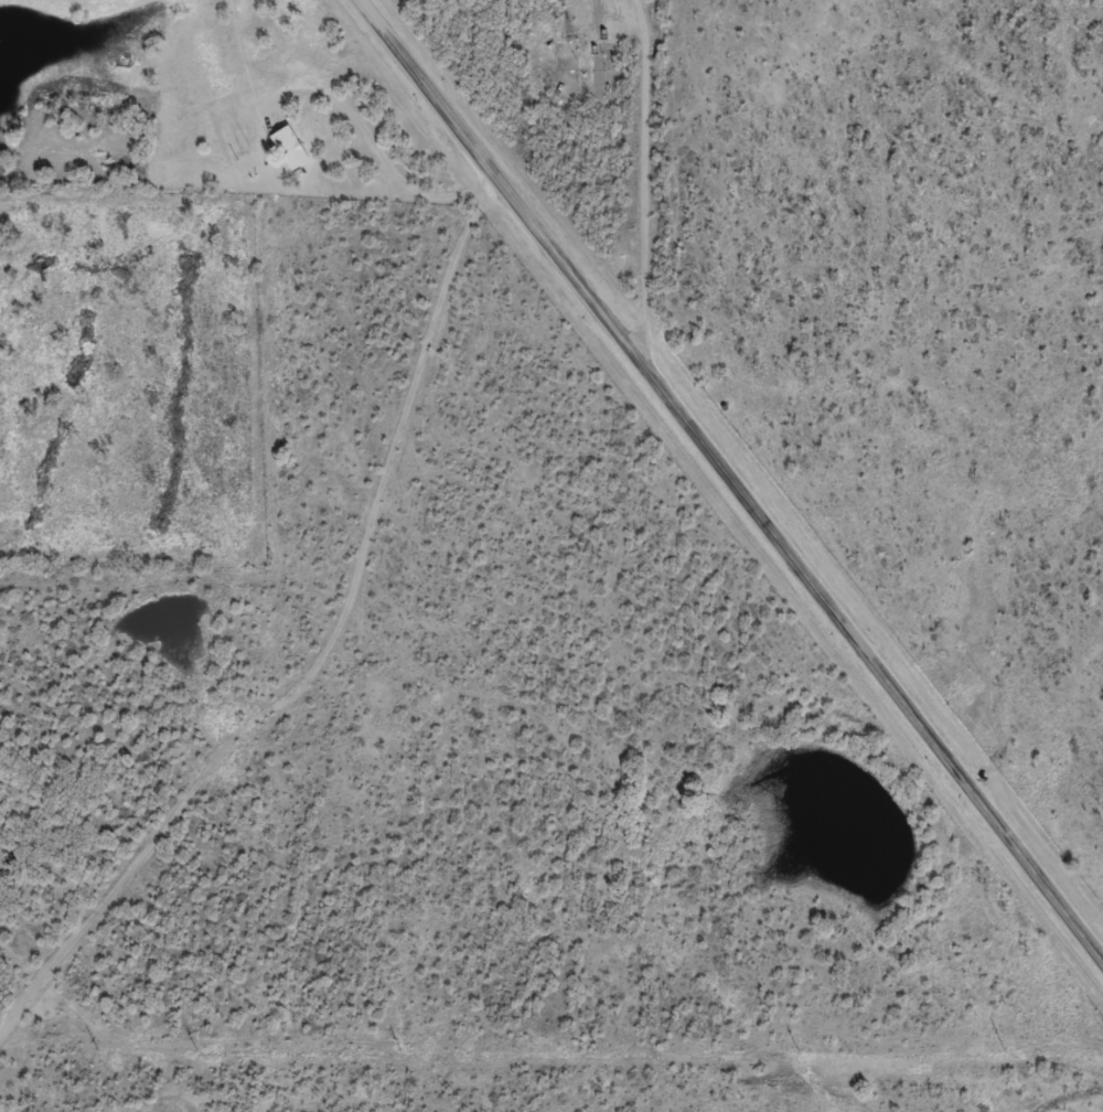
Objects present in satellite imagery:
building: (287, 157)
road: (643, 179)
road: (682, 420)
road: (385, 646)
road: (1056, 901)

